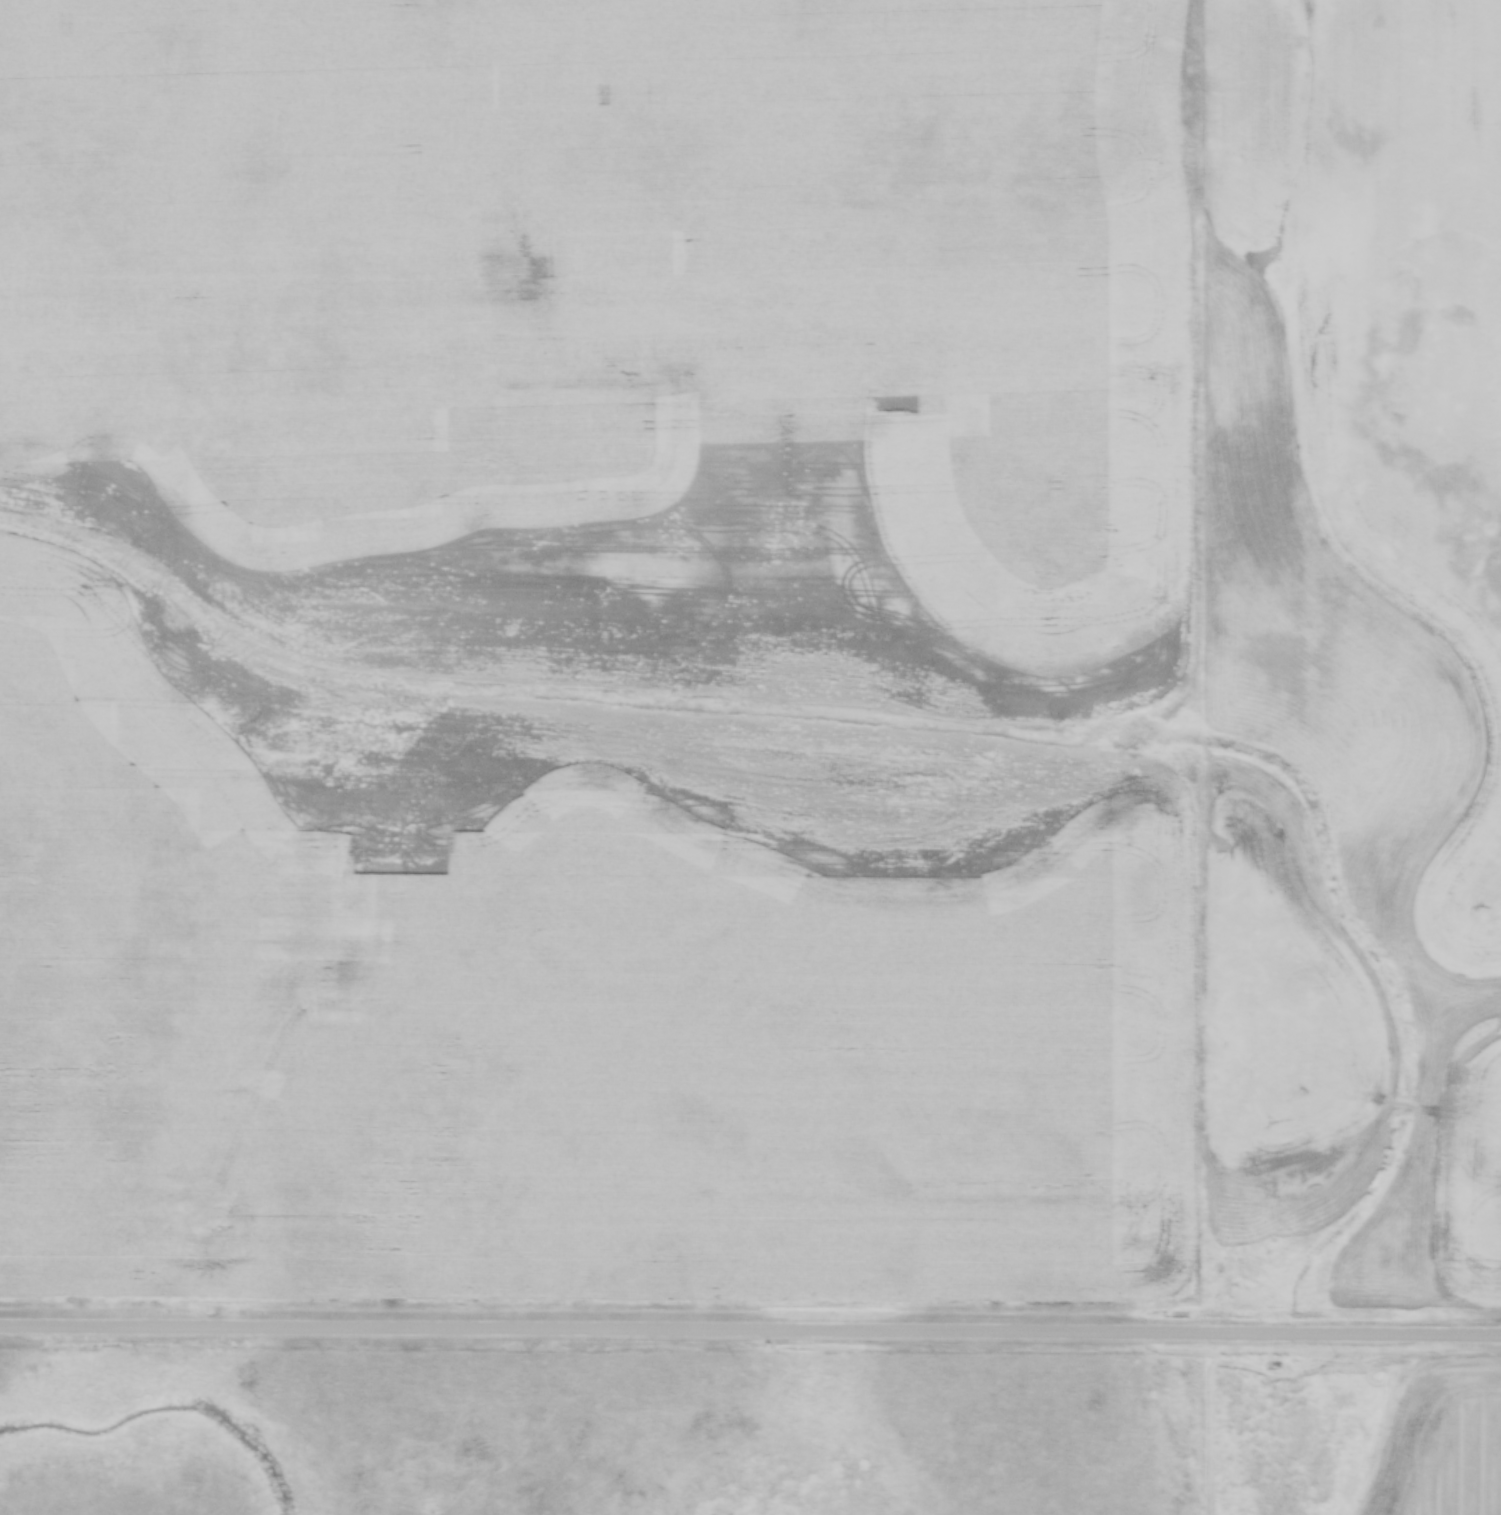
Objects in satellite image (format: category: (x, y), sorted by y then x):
road: (750, 1333)

